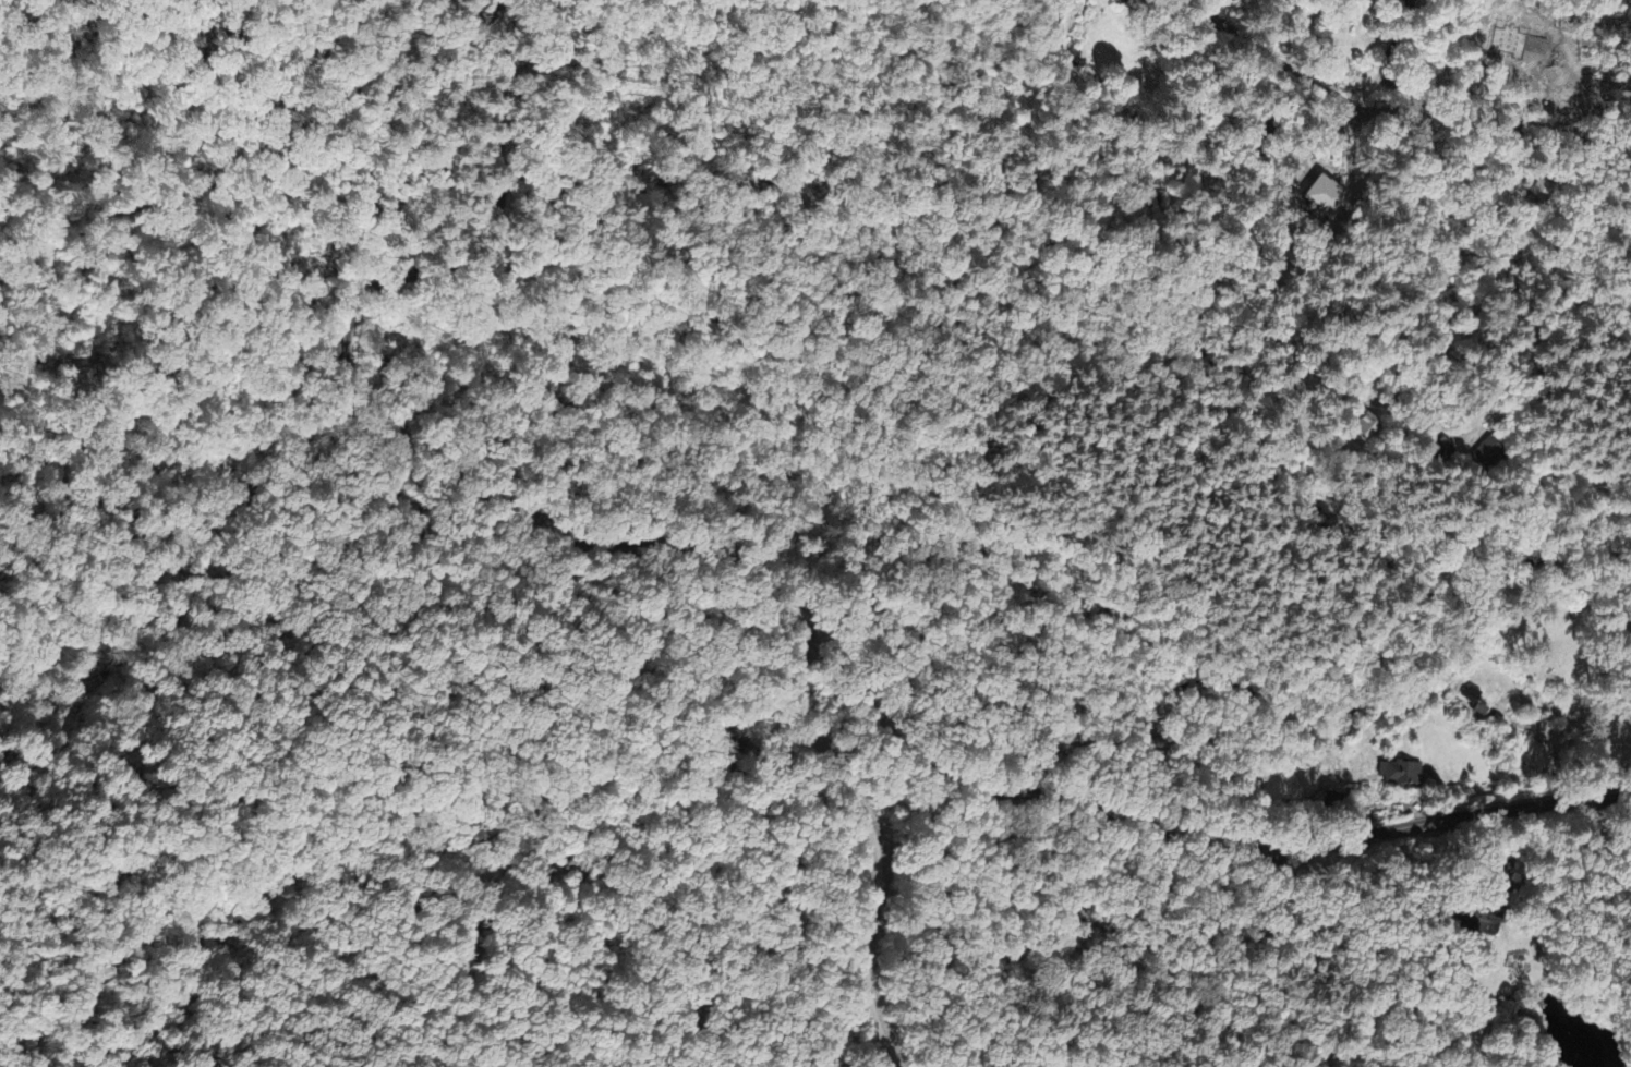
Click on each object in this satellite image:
road: (1457, 102)
building: (1324, 199)
road: (369, 424)
building: (1363, 428)
building: (1484, 456)
building: (1476, 703)
building: (1402, 775)
road: (875, 845)
road: (1185, 846)
building: (1485, 926)
road: (1305, 950)

